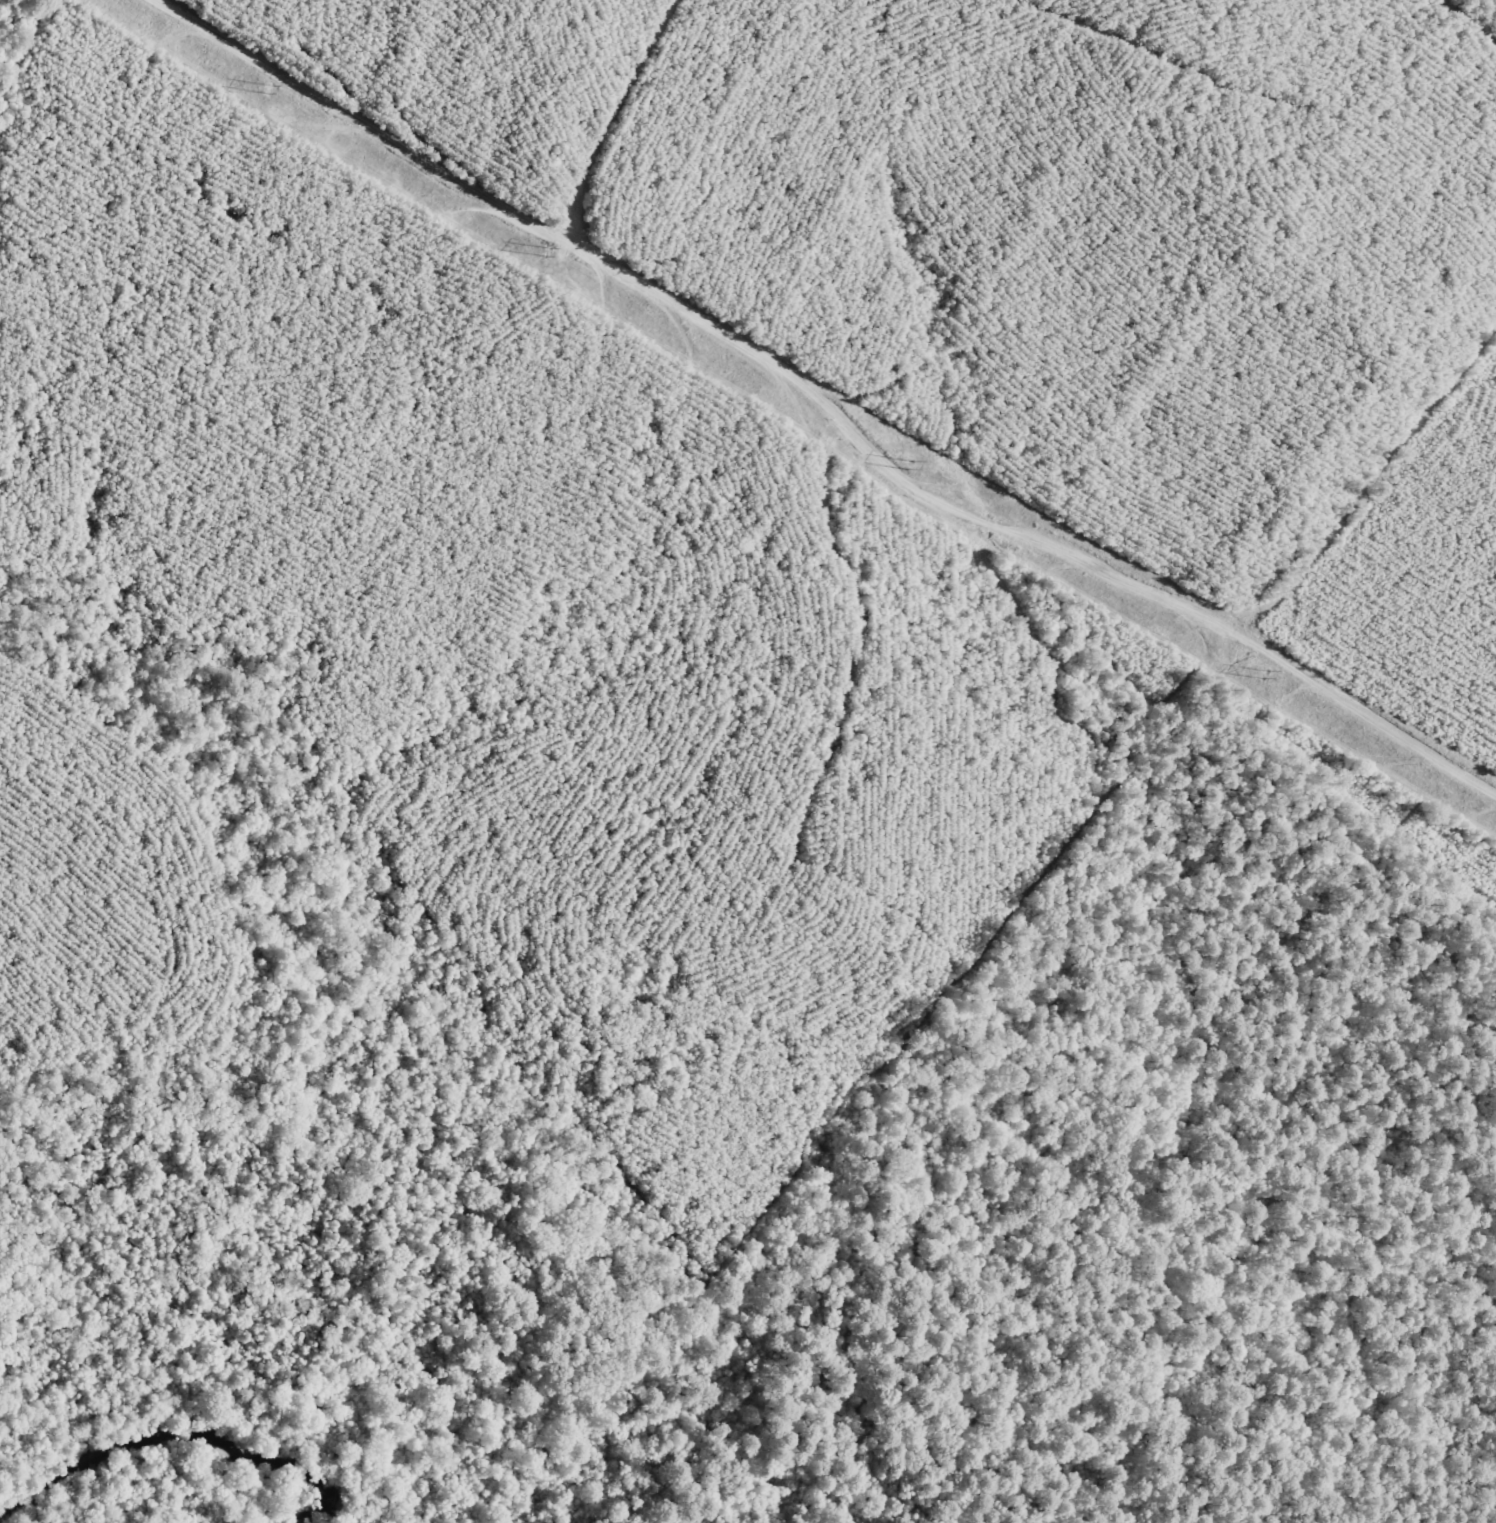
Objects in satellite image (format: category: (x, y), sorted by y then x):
power tower: (272, 89)
power tower: (541, 247)
road: (827, 393)
power tower: (911, 464)
power tower: (1261, 671)

